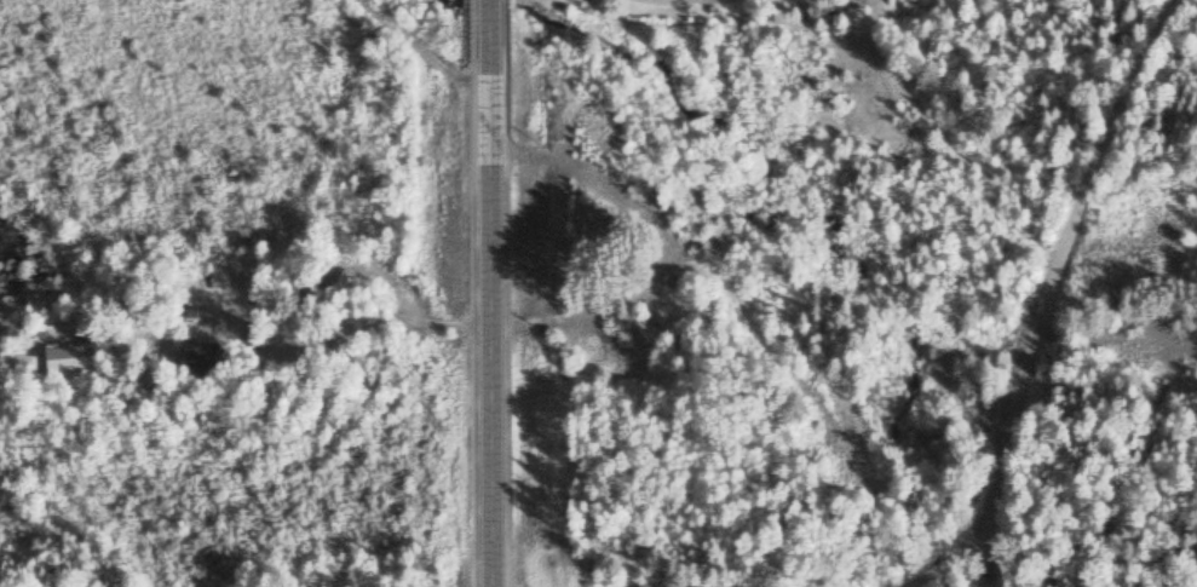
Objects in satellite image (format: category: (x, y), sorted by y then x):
road: (1051, 276)
road: (488, 293)
building: (633, 333)
building: (196, 359)
building: (59, 364)
road: (937, 570)
road: (911, 582)

